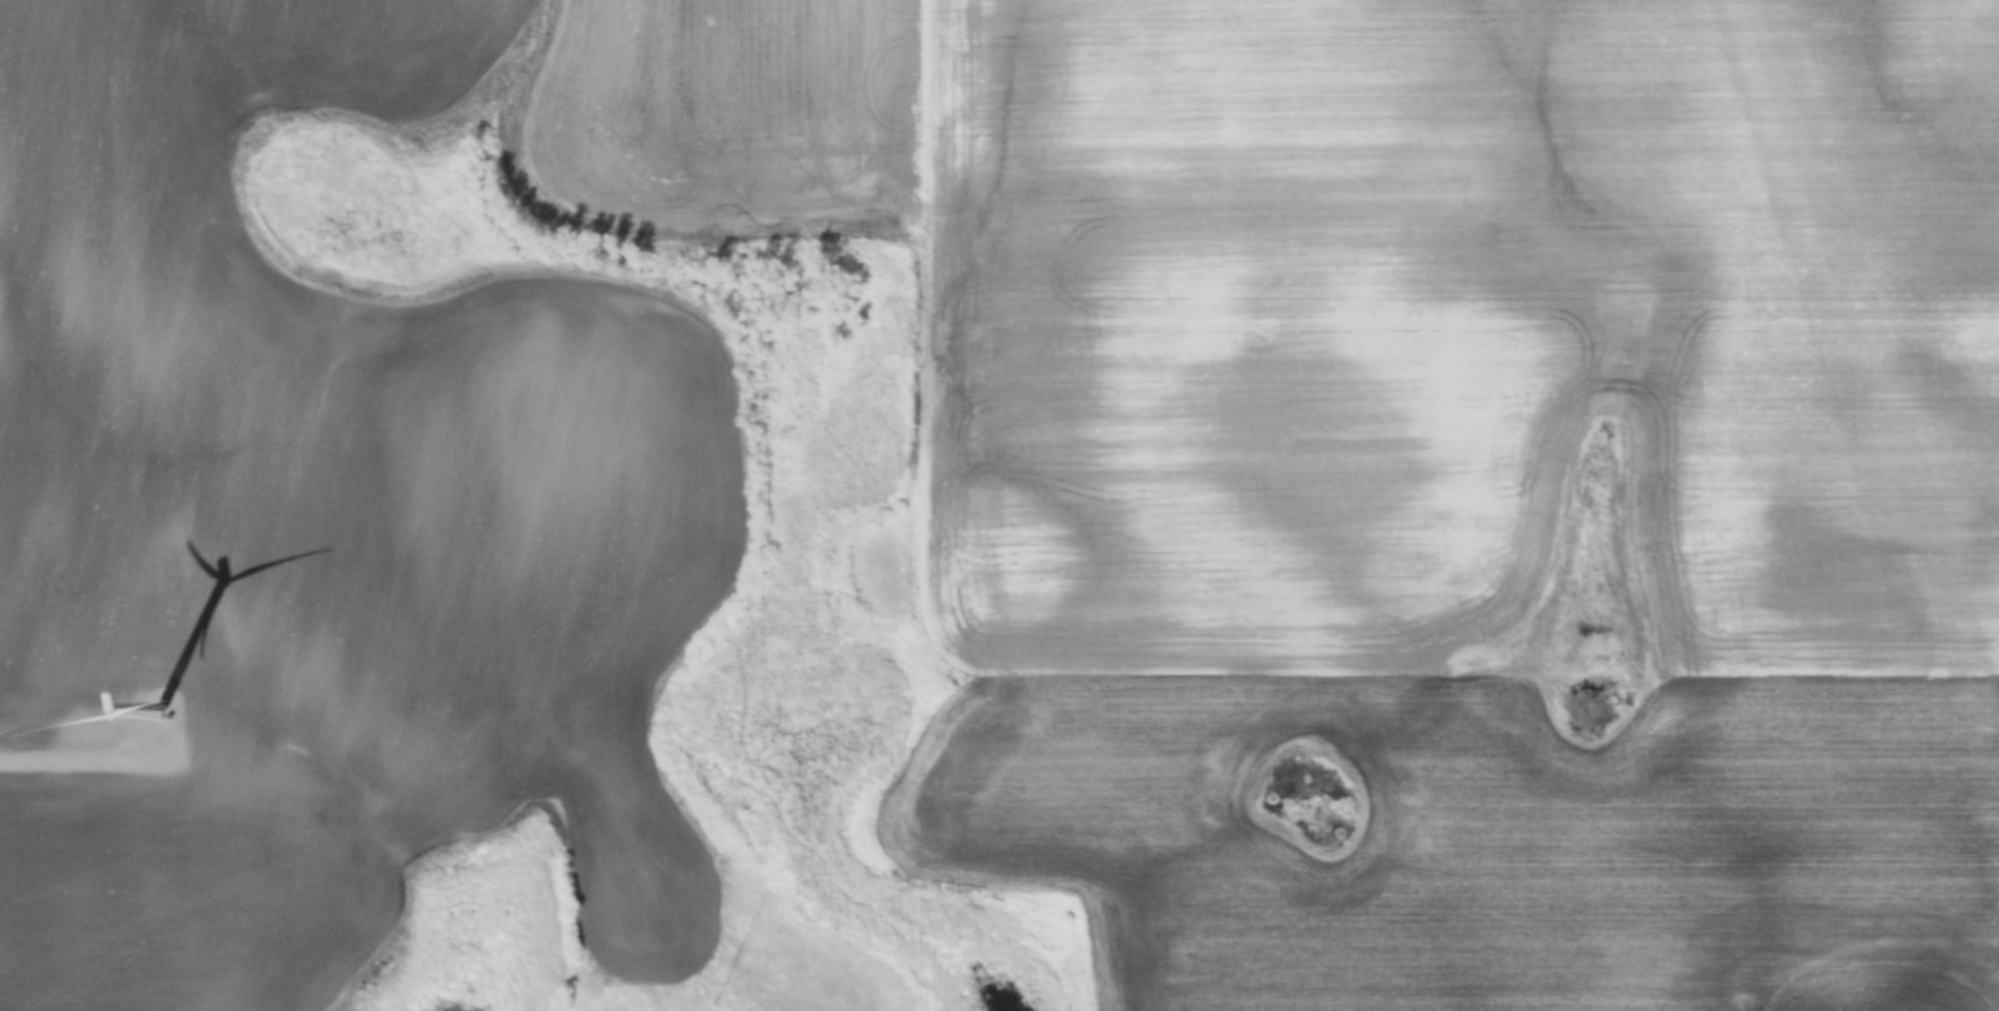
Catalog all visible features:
wind turbine: (156, 709)
road: (86, 759)

